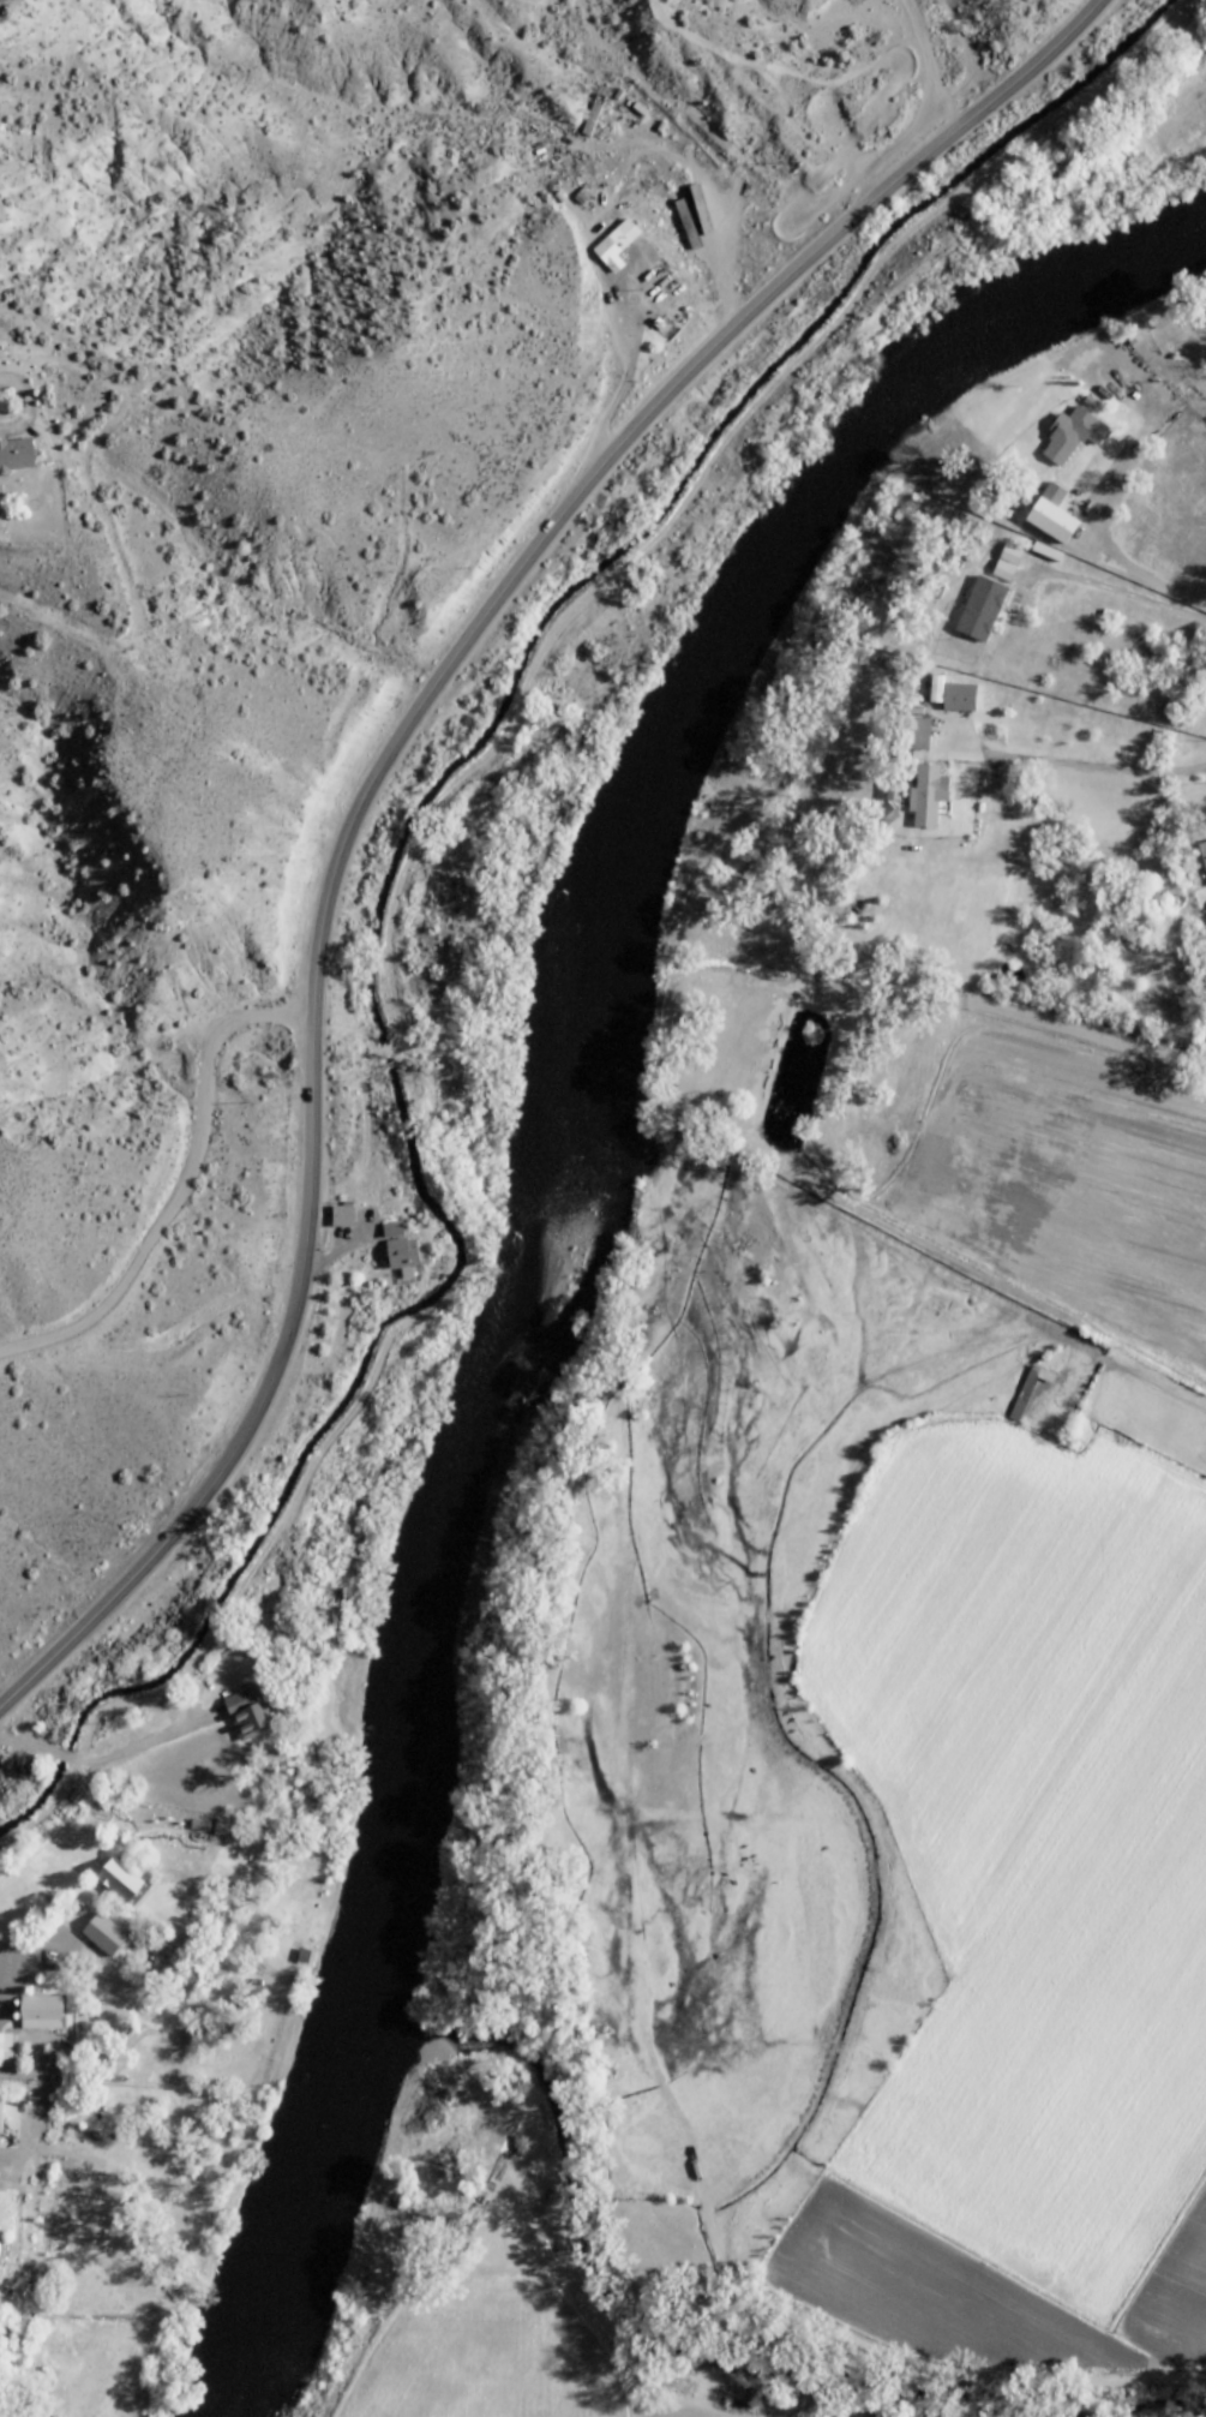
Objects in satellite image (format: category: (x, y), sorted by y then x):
road: (928, 66)
road: (786, 71)
building: (589, 120)
road: (704, 174)
building: (688, 215)
building: (616, 245)
building: (598, 273)
road: (624, 383)
road: (29, 406)
building: (1072, 436)
building: (16, 455)
building: (1052, 496)
building: (980, 610)
building: (953, 696)
building: (917, 734)
road: (379, 766)
building: (893, 795)
building: (929, 796)
building: (1202, 852)
road: (403, 872)
road: (181, 1186)
river: (534, 1204)
building: (342, 1216)
building: (392, 1230)
road: (338, 1248)
building: (402, 1256)
building: (1028, 1390)
building: (247, 1713)
road: (146, 1742)
road: (28, 1746)
road: (64, 1757)
building: (198, 1824)
building: (223, 1827)
building: (118, 1880)
building: (104, 1934)
building: (41, 2012)
building: (5, 2050)
building: (0, 2112)
road: (26, 2135)
road: (42, 2149)
building: (0, 2260)
river: (596, 2298)
crop: (485, 2356)
road: (674, 2412)

